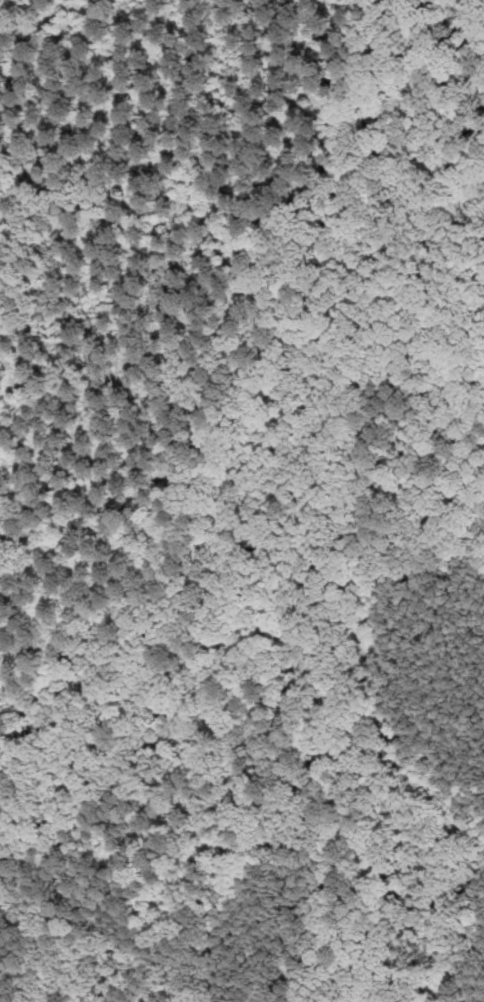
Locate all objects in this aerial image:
road: (363, 197)

